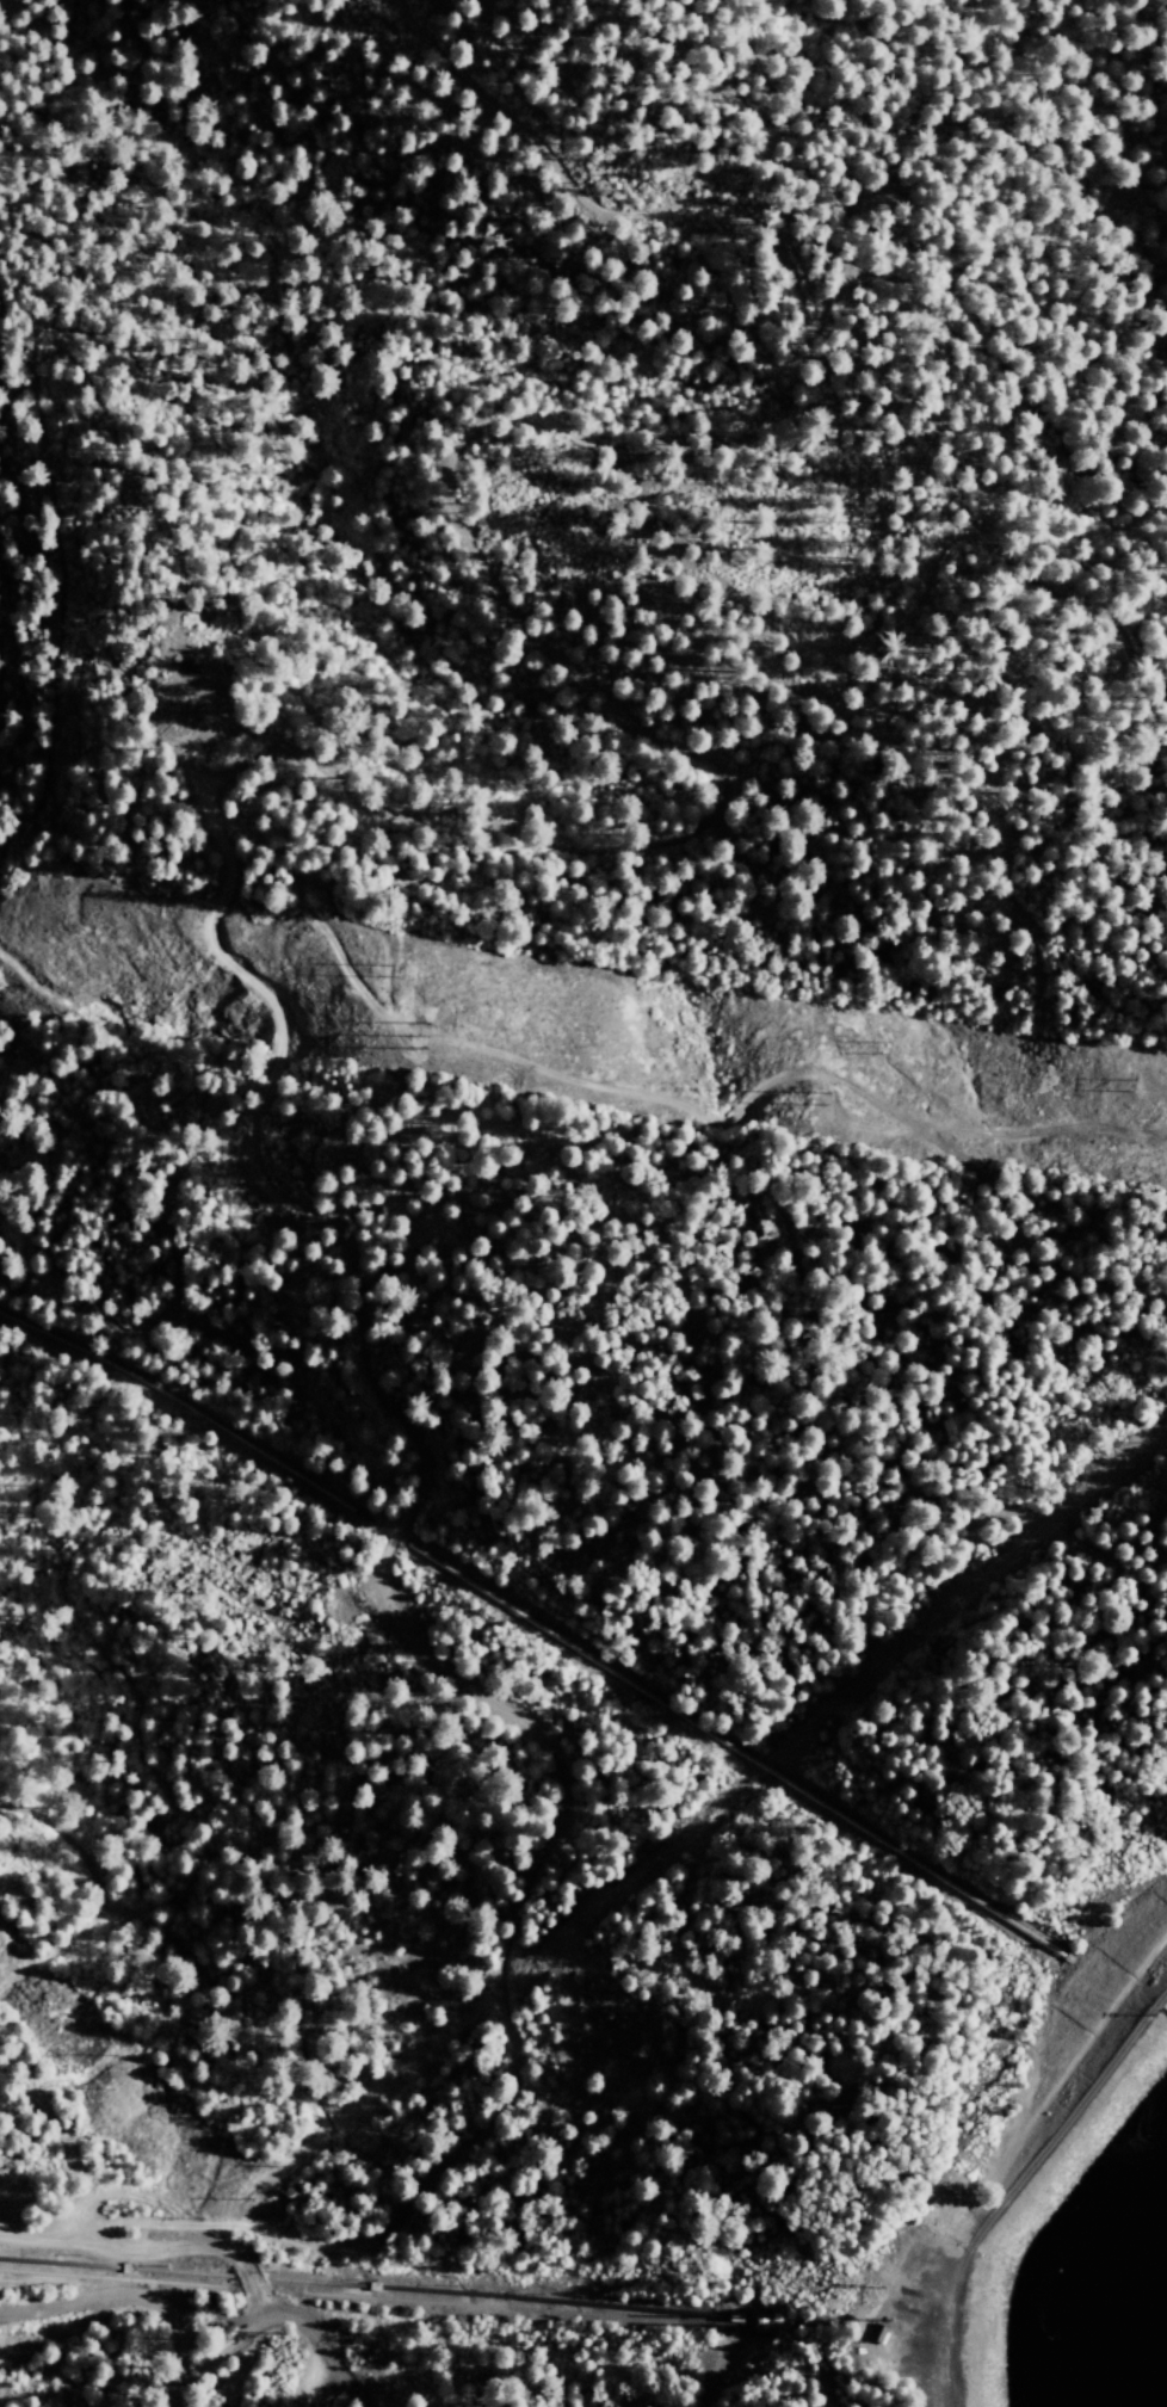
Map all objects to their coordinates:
power tower: (394, 969)
power tower: (427, 1035)
power tower: (883, 1044)
power tower: (1131, 1084)
power tower: (817, 1094)
dam: (1048, 2119)
road: (1005, 2172)
road: (192, 2246)
road: (123, 2298)
road: (277, 2313)
road: (208, 2315)
road: (56, 2334)
road: (699, 2378)
road: (314, 2380)
road: (166, 2397)

